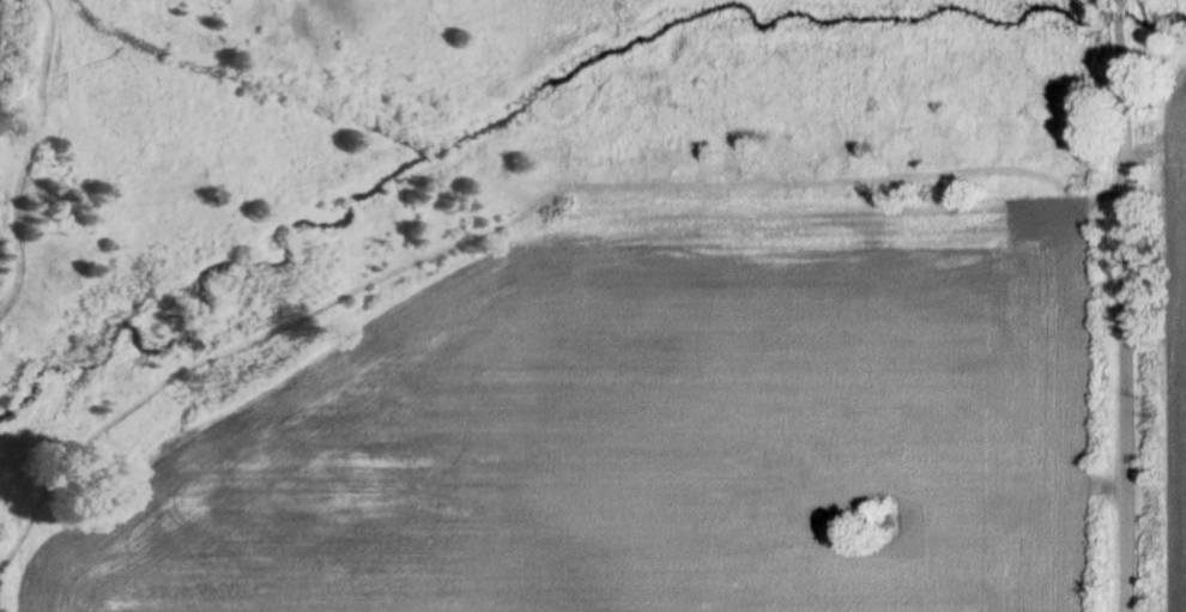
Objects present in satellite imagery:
road: (1108, 305)

